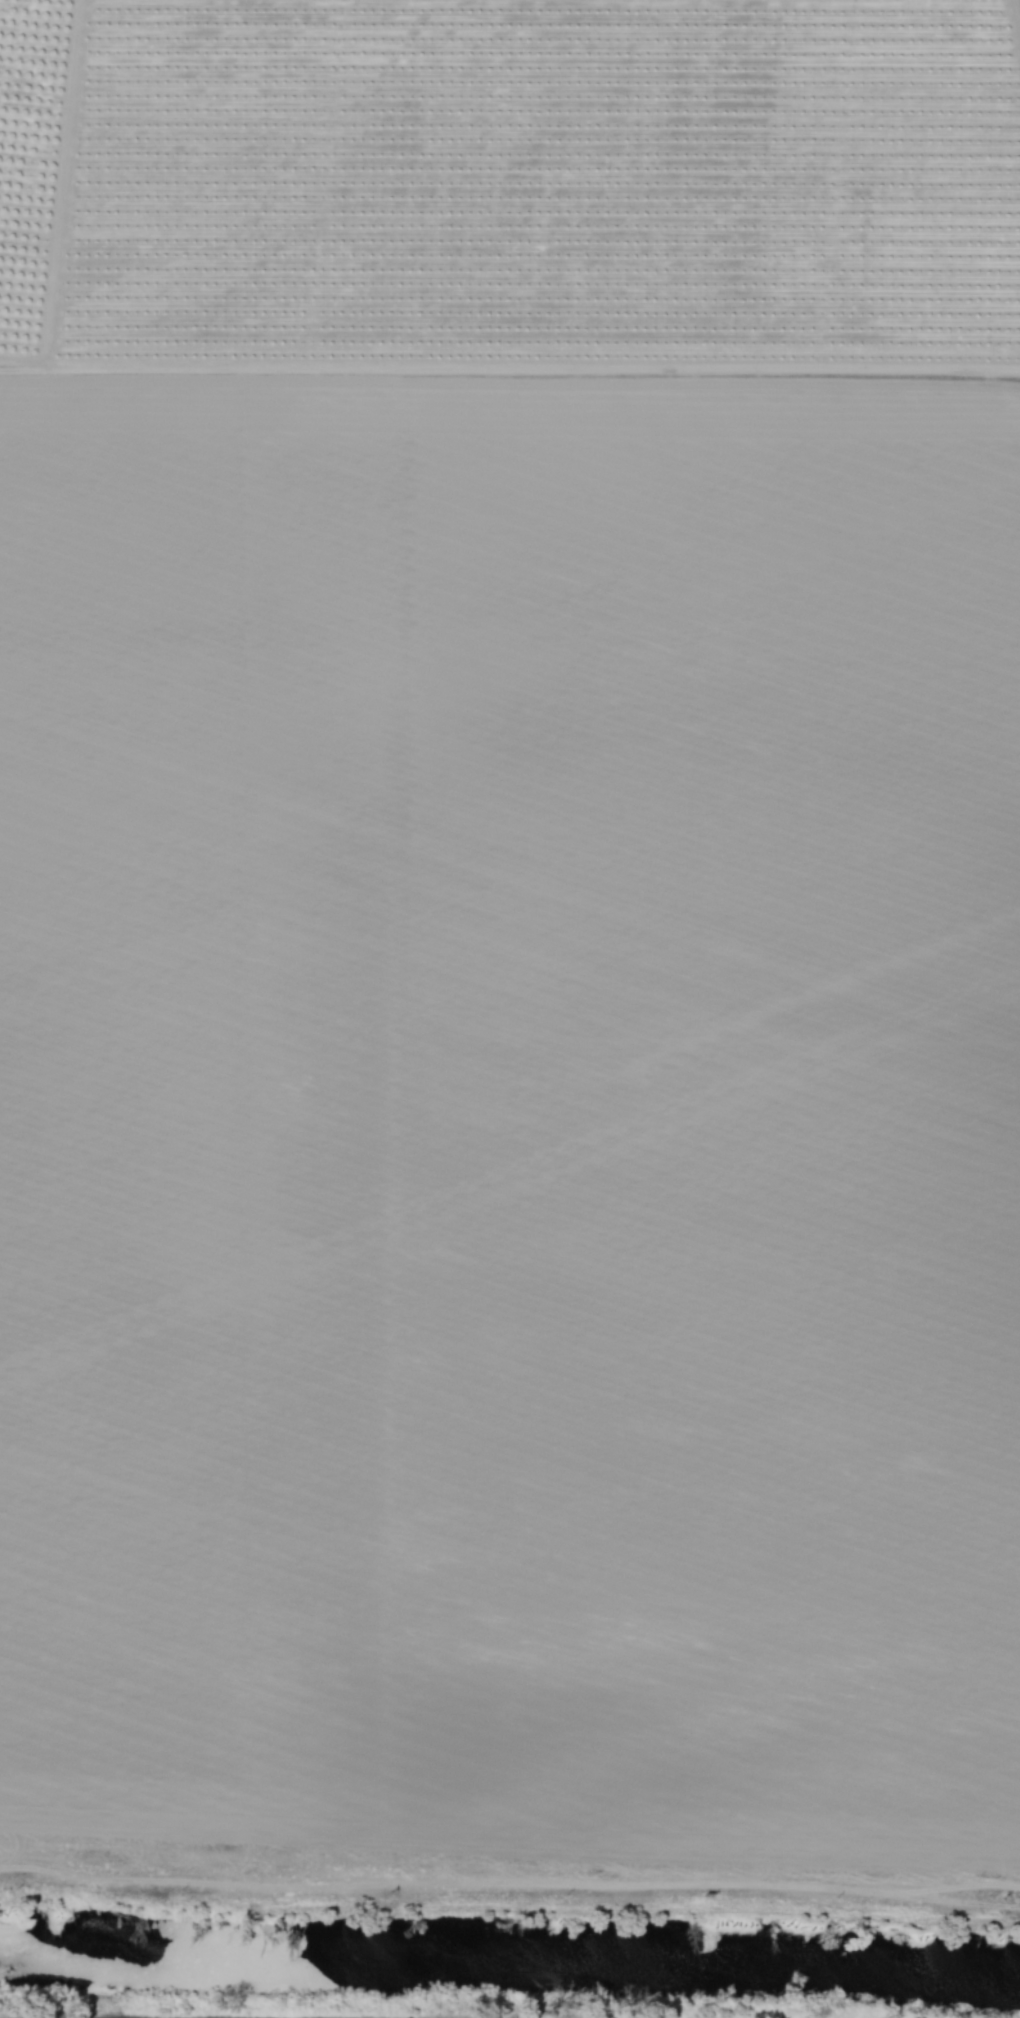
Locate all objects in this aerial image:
crop: (508, 940)

